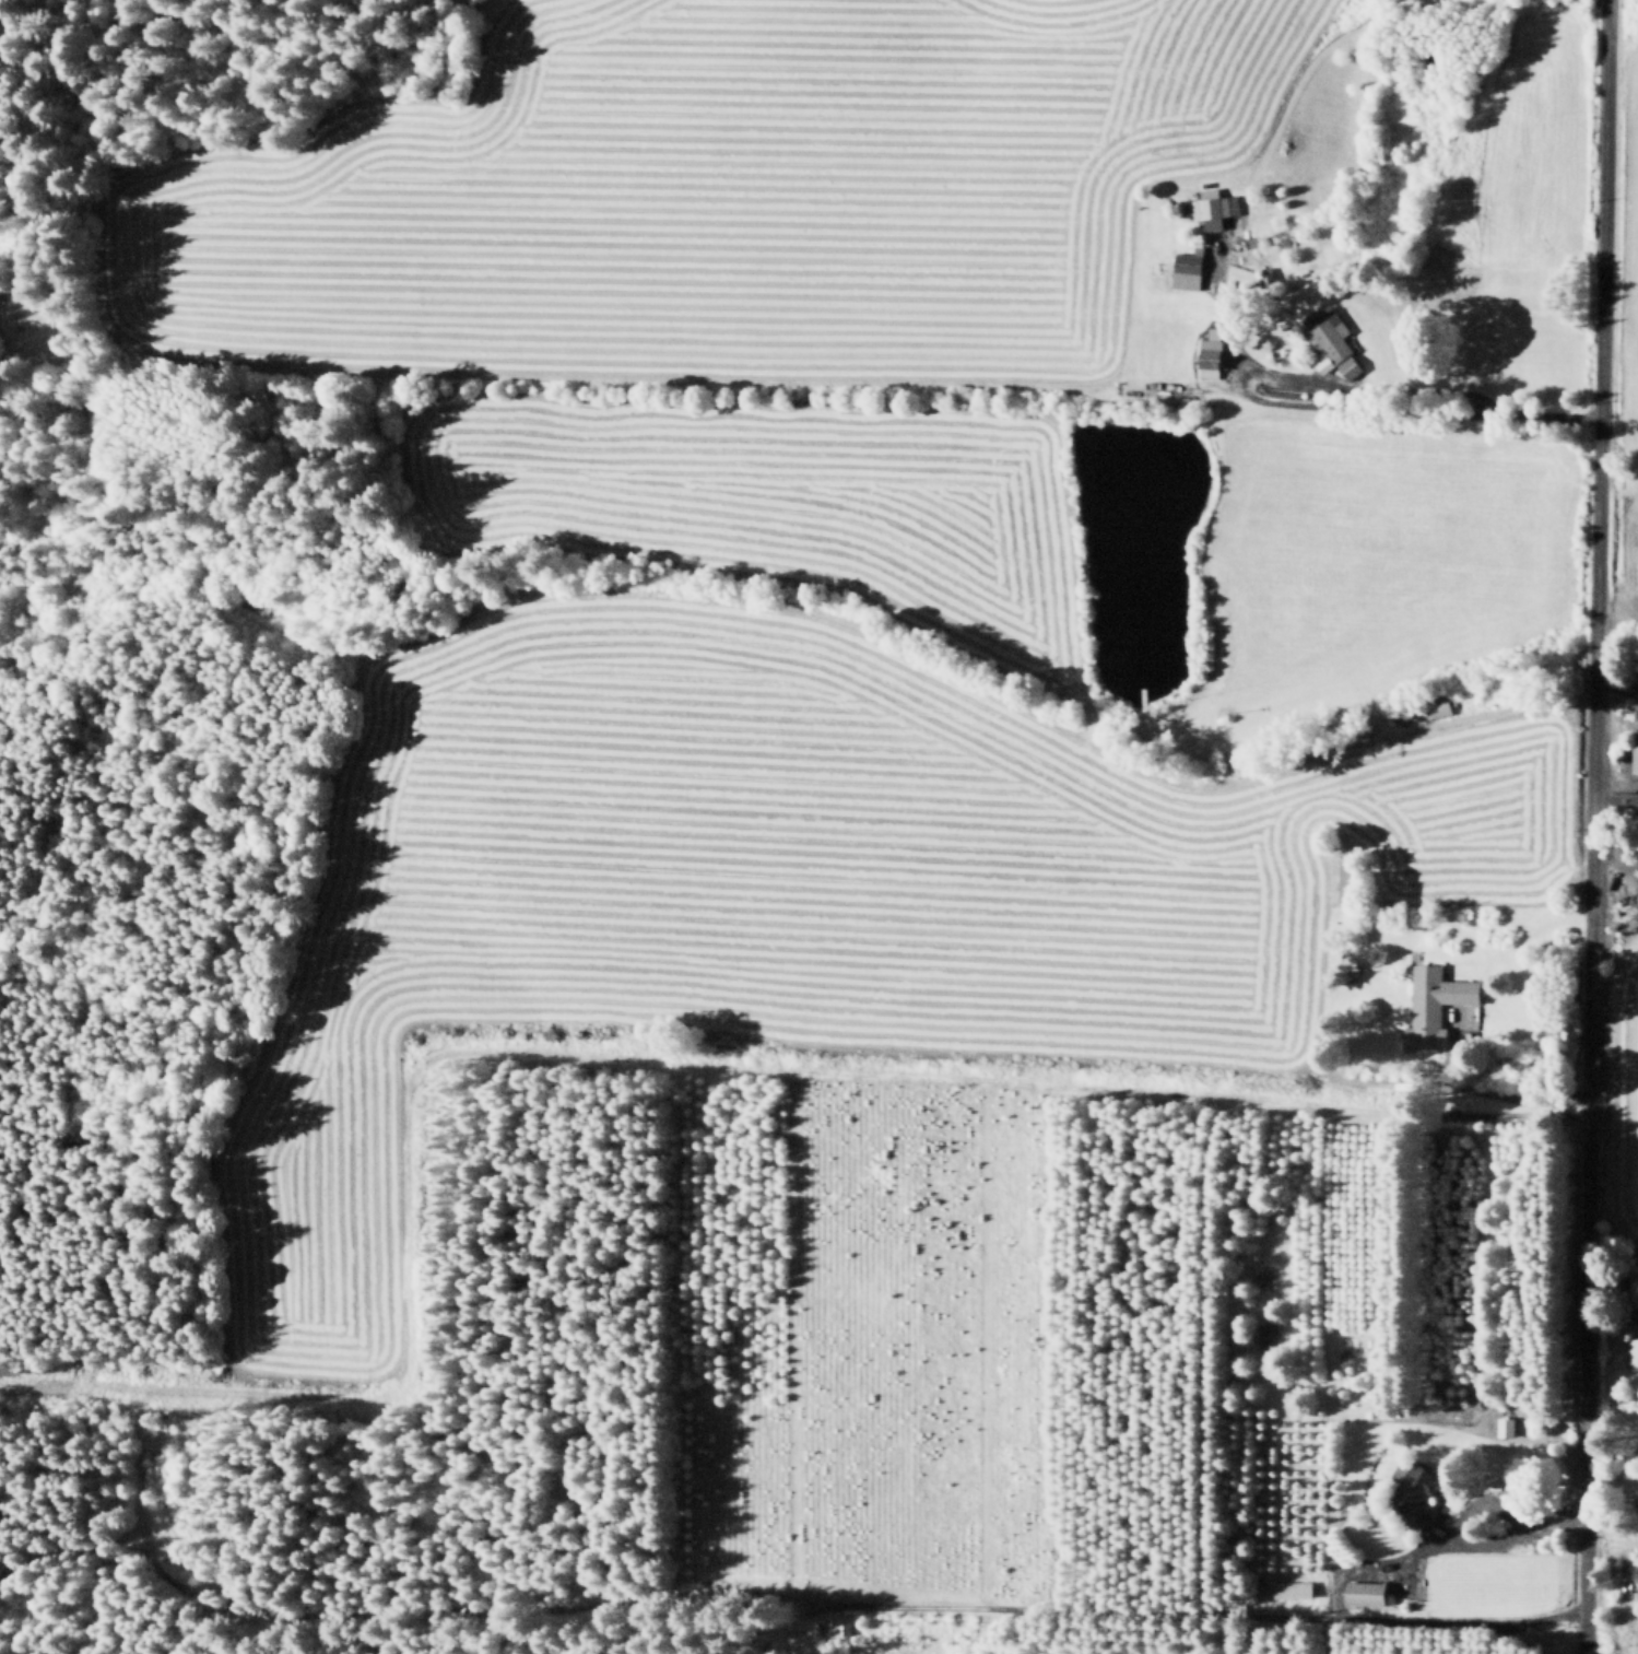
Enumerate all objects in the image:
crop: (712, 191)
building: (1207, 201)
building: (1188, 269)
building: (1265, 273)
crop: (1630, 275)
building: (1323, 335)
building: (1210, 354)
building: (1351, 366)
road: (622, 377)
road: (1352, 386)
road: (1358, 403)
crop: (778, 502)
crop: (1370, 561)
road: (1616, 684)
road: (1368, 706)
building: (1431, 707)
building: (1635, 716)
building: (1634, 748)
road: (1614, 779)
road: (1193, 785)
building: (1623, 808)
road: (1592, 826)
road: (1615, 855)
building: (1348, 879)
crop: (778, 892)
building: (1433, 1001)
road: (1512, 1095)
crop: (1613, 1106)
building: (1635, 1290)
building: (1631, 1349)
building: (1505, 1427)
building: (1637, 1471)
building: (1635, 1486)
building: (1413, 1491)
road: (1482, 1503)
road: (1462, 1541)
building: (1291, 1586)
building: (1363, 1588)
road: (392, 1609)
road: (1198, 1612)
building: (834, 1622)
road: (809, 1624)
road: (742, 1627)

